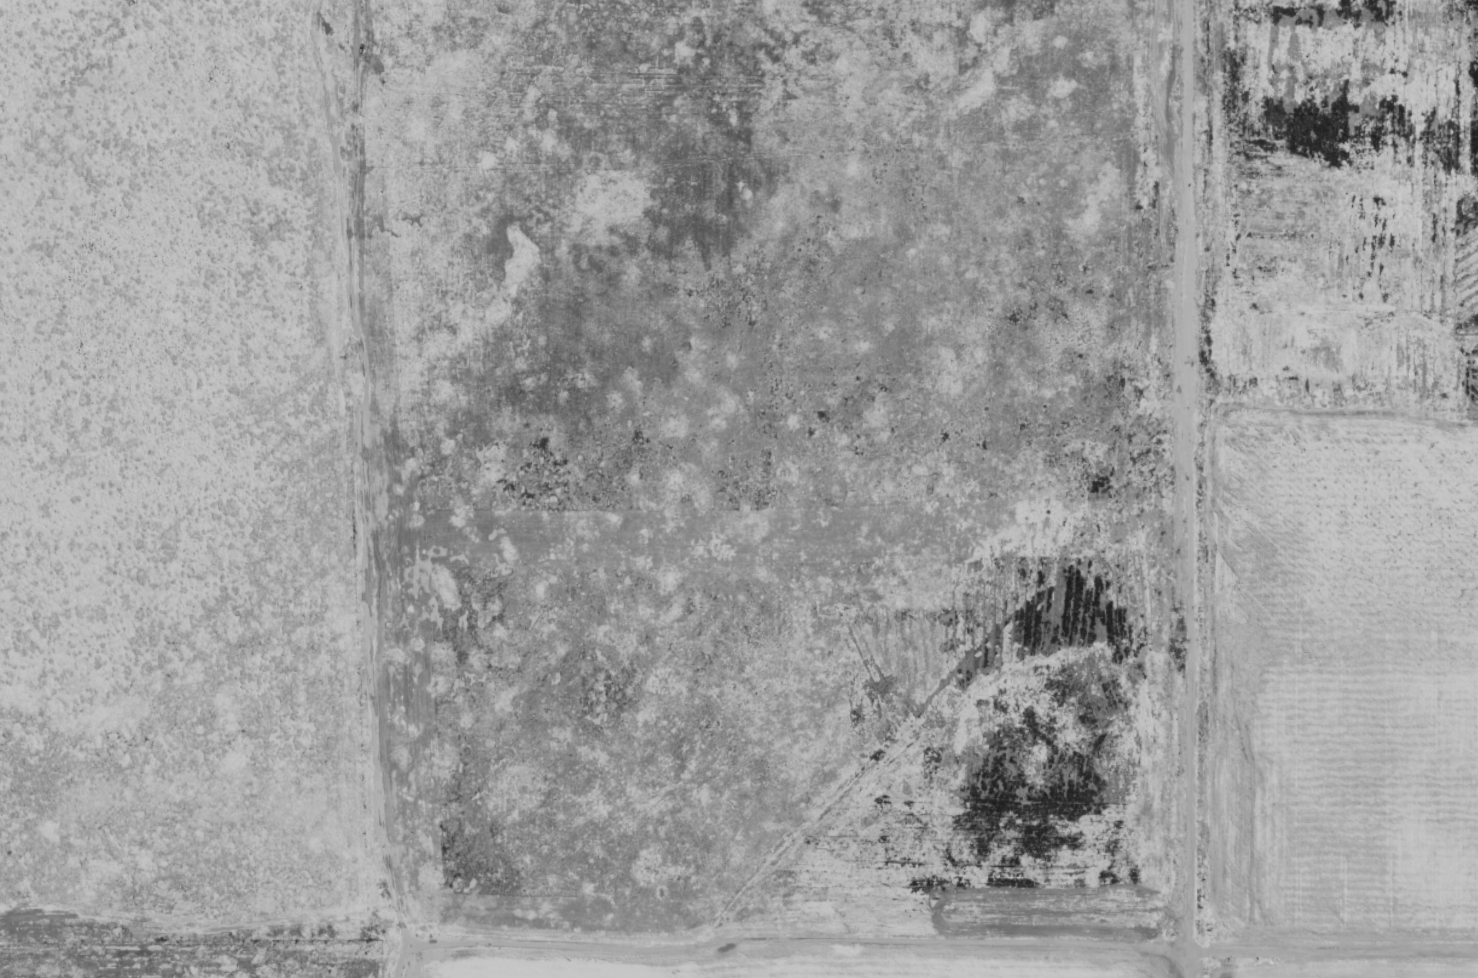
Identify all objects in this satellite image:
road: (1185, 482)
road: (802, 941)
road: (420, 948)
road: (1331, 960)
road: (1185, 971)

